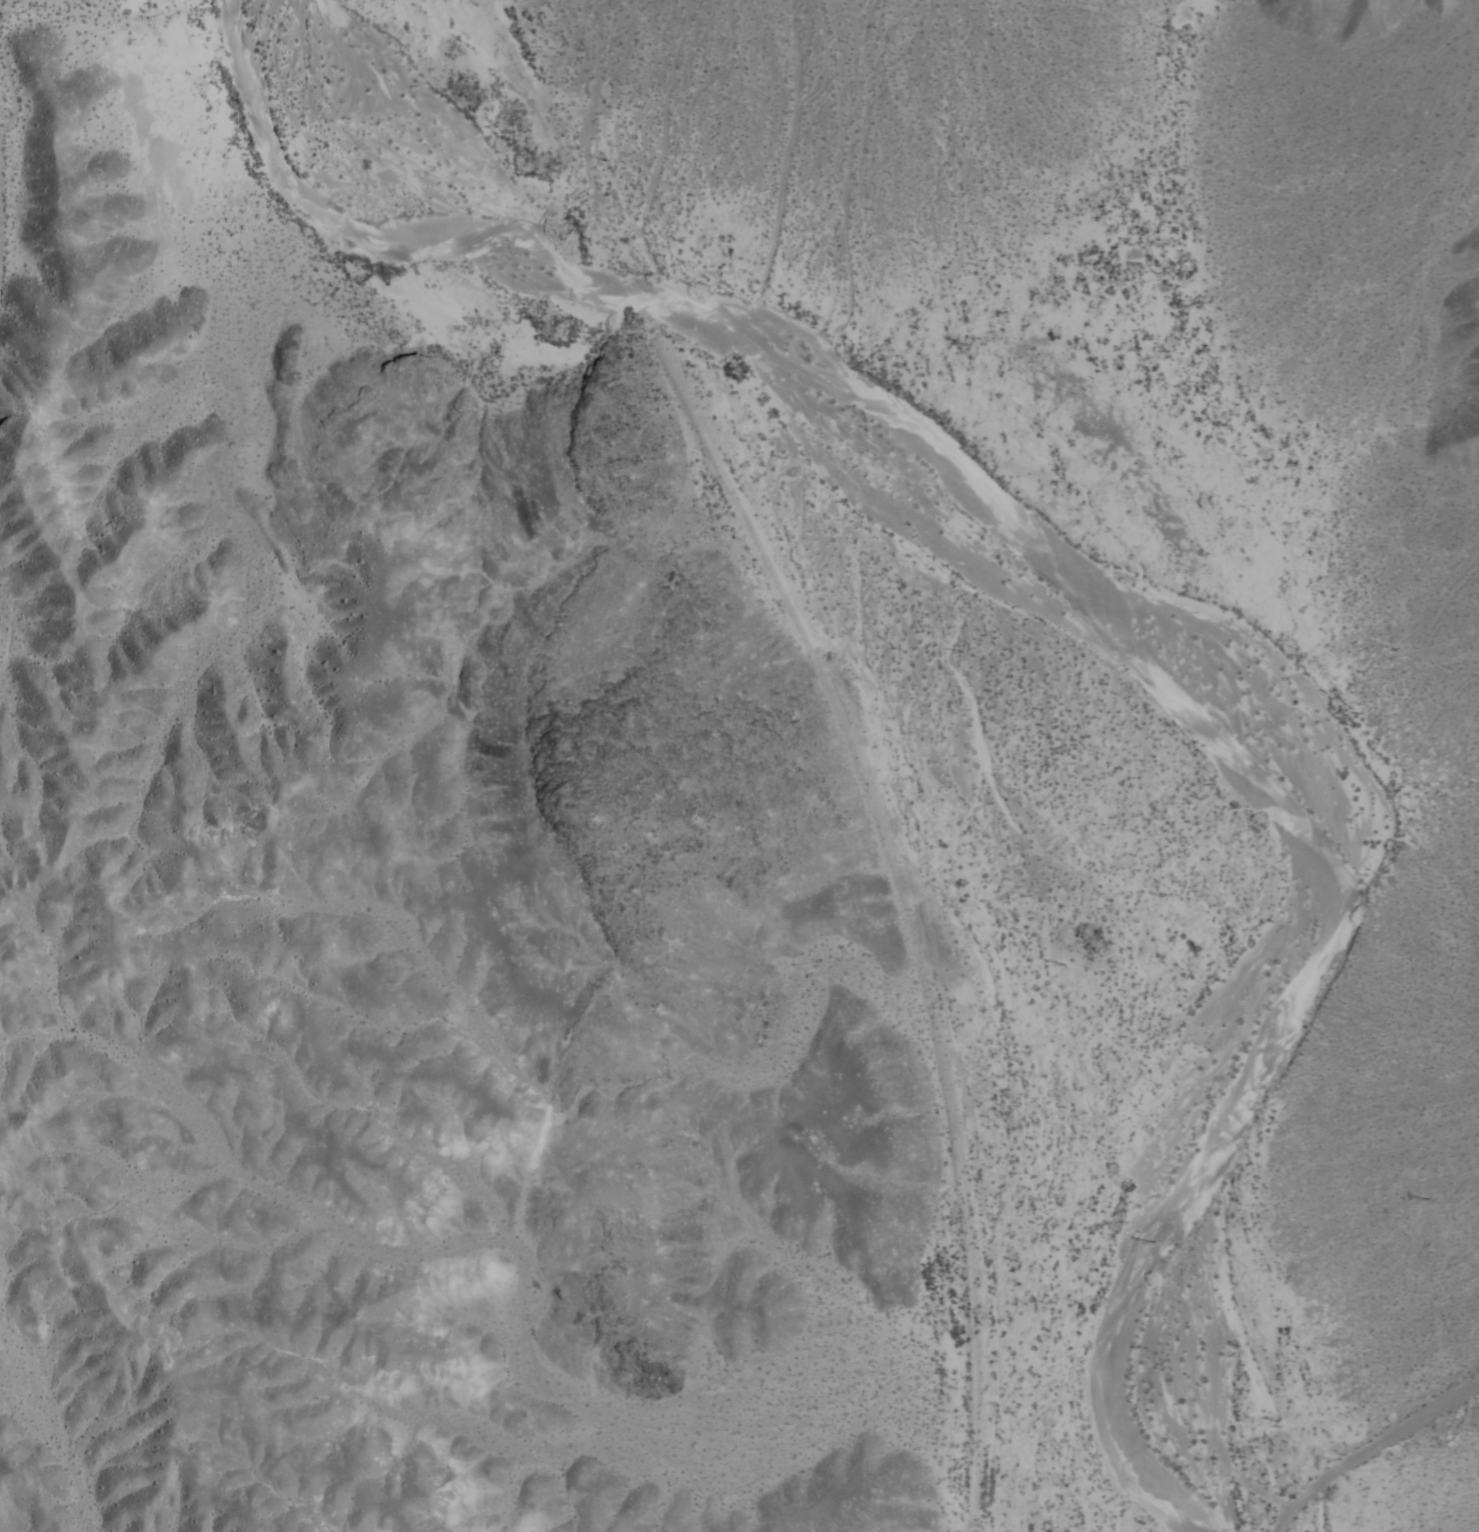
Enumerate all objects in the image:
road: (1358, 303)
river: (1091, 604)
road: (1371, 1449)

